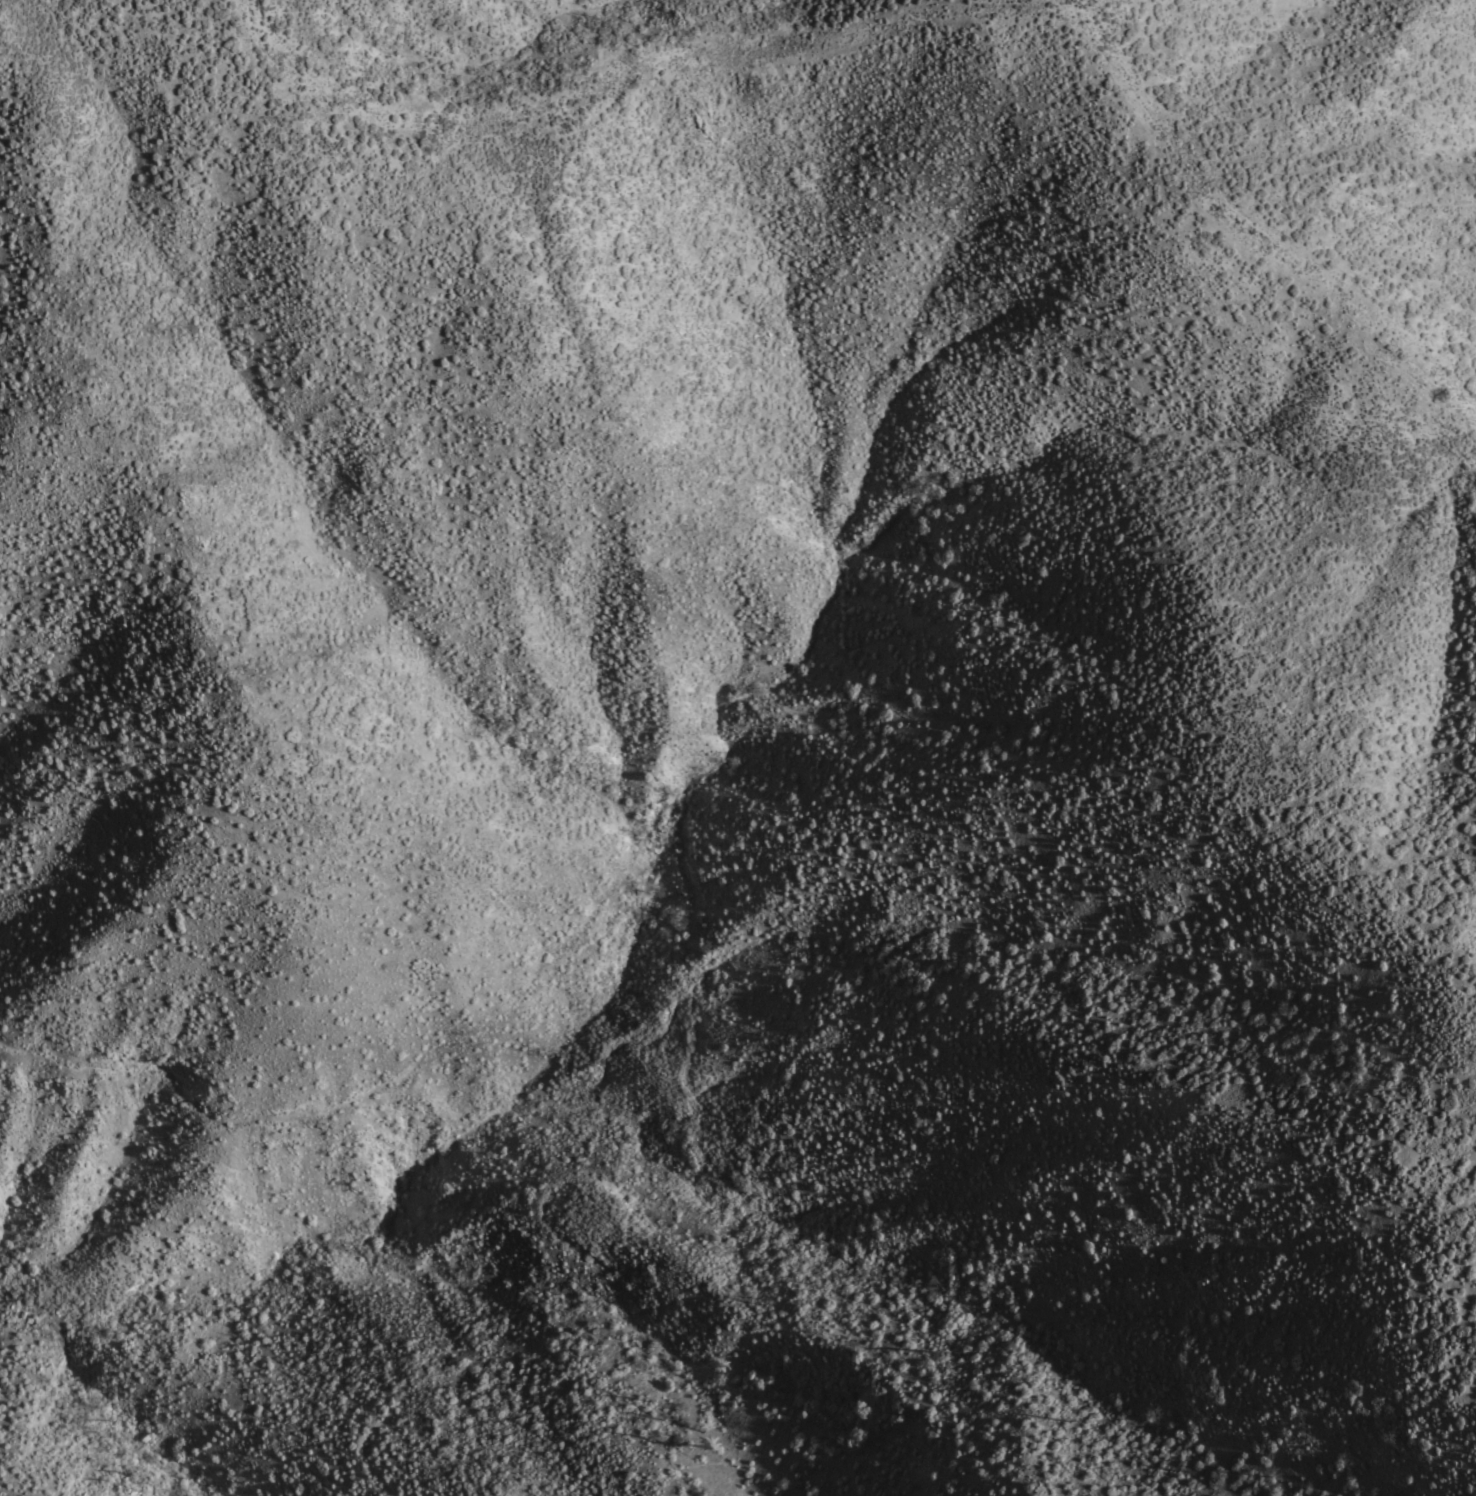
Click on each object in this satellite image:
road: (917, 26)
road: (1471, 934)

